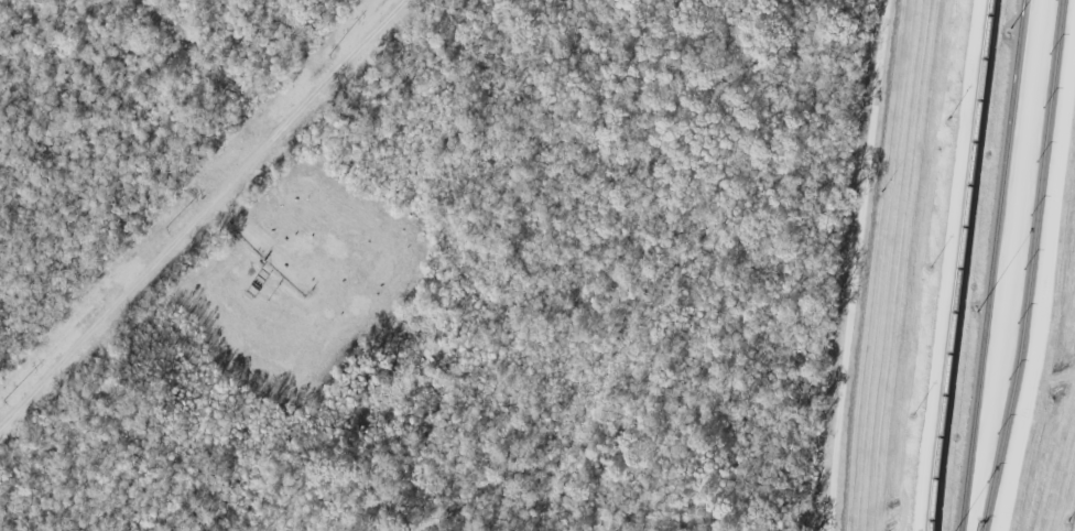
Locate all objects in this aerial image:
road: (200, 213)
road: (855, 264)
railway: (958, 264)
railway: (989, 265)
road: (1044, 280)

